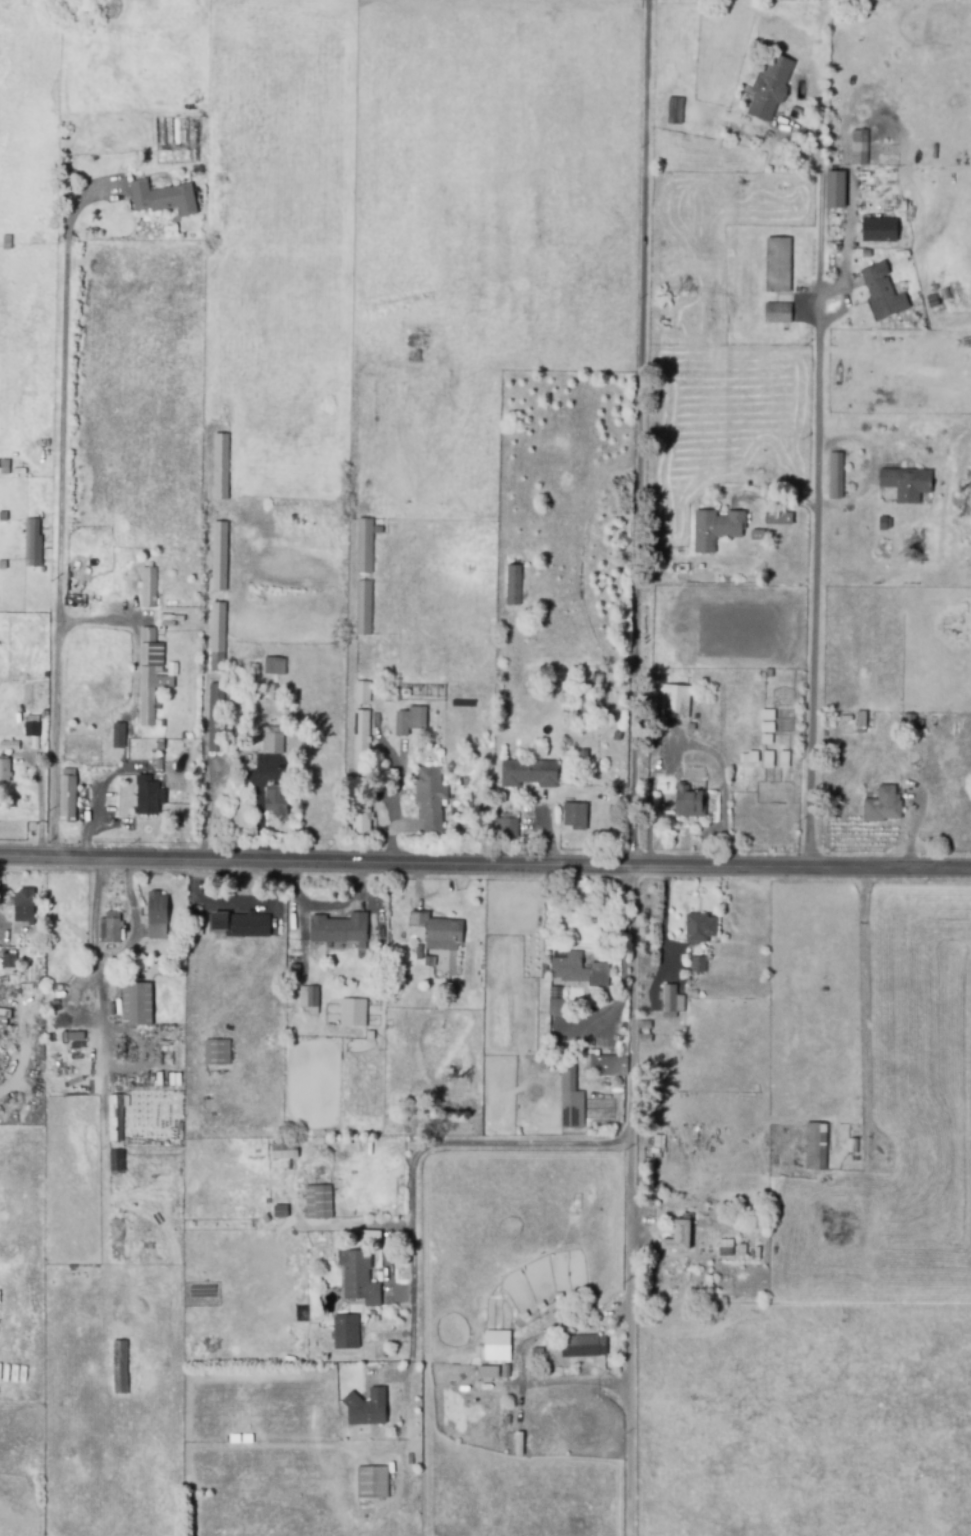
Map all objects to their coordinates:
building: (768, 88)
building: (674, 110)
building: (858, 148)
building: (834, 189)
building: (162, 198)
building: (877, 229)
building: (776, 264)
building: (881, 294)
building: (943, 294)
building: (930, 300)
building: (776, 314)
road: (640, 432)
building: (220, 465)
building: (835, 477)
building: (904, 486)
road: (814, 507)
road: (66, 511)
building: (777, 521)
building: (715, 531)
building: (30, 539)
building: (363, 545)
building: (218, 554)
building: (512, 583)
building: (149, 588)
building: (368, 597)
building: (216, 636)
building: (273, 665)
building: (361, 675)
building: (147, 676)
building: (270, 691)
building: (582, 695)
building: (674, 703)
building: (214, 716)
building: (408, 719)
building: (860, 722)
building: (31, 725)
building: (908, 725)
building: (688, 726)
building: (119, 731)
building: (360, 738)
building: (269, 740)
building: (8, 745)
road: (709, 755)
building: (3, 768)
building: (528, 772)
building: (465, 781)
building: (147, 794)
building: (66, 795)
building: (429, 796)
building: (275, 798)
building: (687, 804)
road: (396, 808)
building: (881, 808)
building: (573, 814)
building: (358, 815)
building: (508, 825)
road: (720, 829)
road: (485, 865)
building: (23, 904)
building: (156, 916)
building: (111, 921)
road: (132, 921)
building: (239, 925)
building: (436, 928)
building: (338, 929)
building: (698, 929)
building: (208, 937)
road: (92, 955)
building: (7, 960)
building: (697, 965)
building: (541, 968)
building: (577, 971)
building: (374, 997)
building: (308, 998)
building: (554, 1001)
building: (668, 1001)
building: (135, 1003)
building: (351, 1012)
building: (643, 1034)
building: (363, 1035)
building: (75, 1037)
building: (215, 1052)
building: (606, 1069)
building: (568, 1098)
building: (114, 1118)
building: (656, 1145)
building: (815, 1146)
road: (418, 1149)
building: (115, 1160)
building: (317, 1201)
road: (629, 1201)
building: (278, 1210)
building: (264, 1215)
building: (365, 1234)
building: (678, 1238)
building: (116, 1242)
building: (723, 1247)
building: (357, 1276)
building: (344, 1332)
building: (495, 1345)
building: (581, 1345)
road: (519, 1359)
building: (119, 1367)
building: (485, 1371)
building: (367, 1409)
building: (40, 1422)
road: (403, 1422)
building: (259, 1438)
building: (371, 1484)

